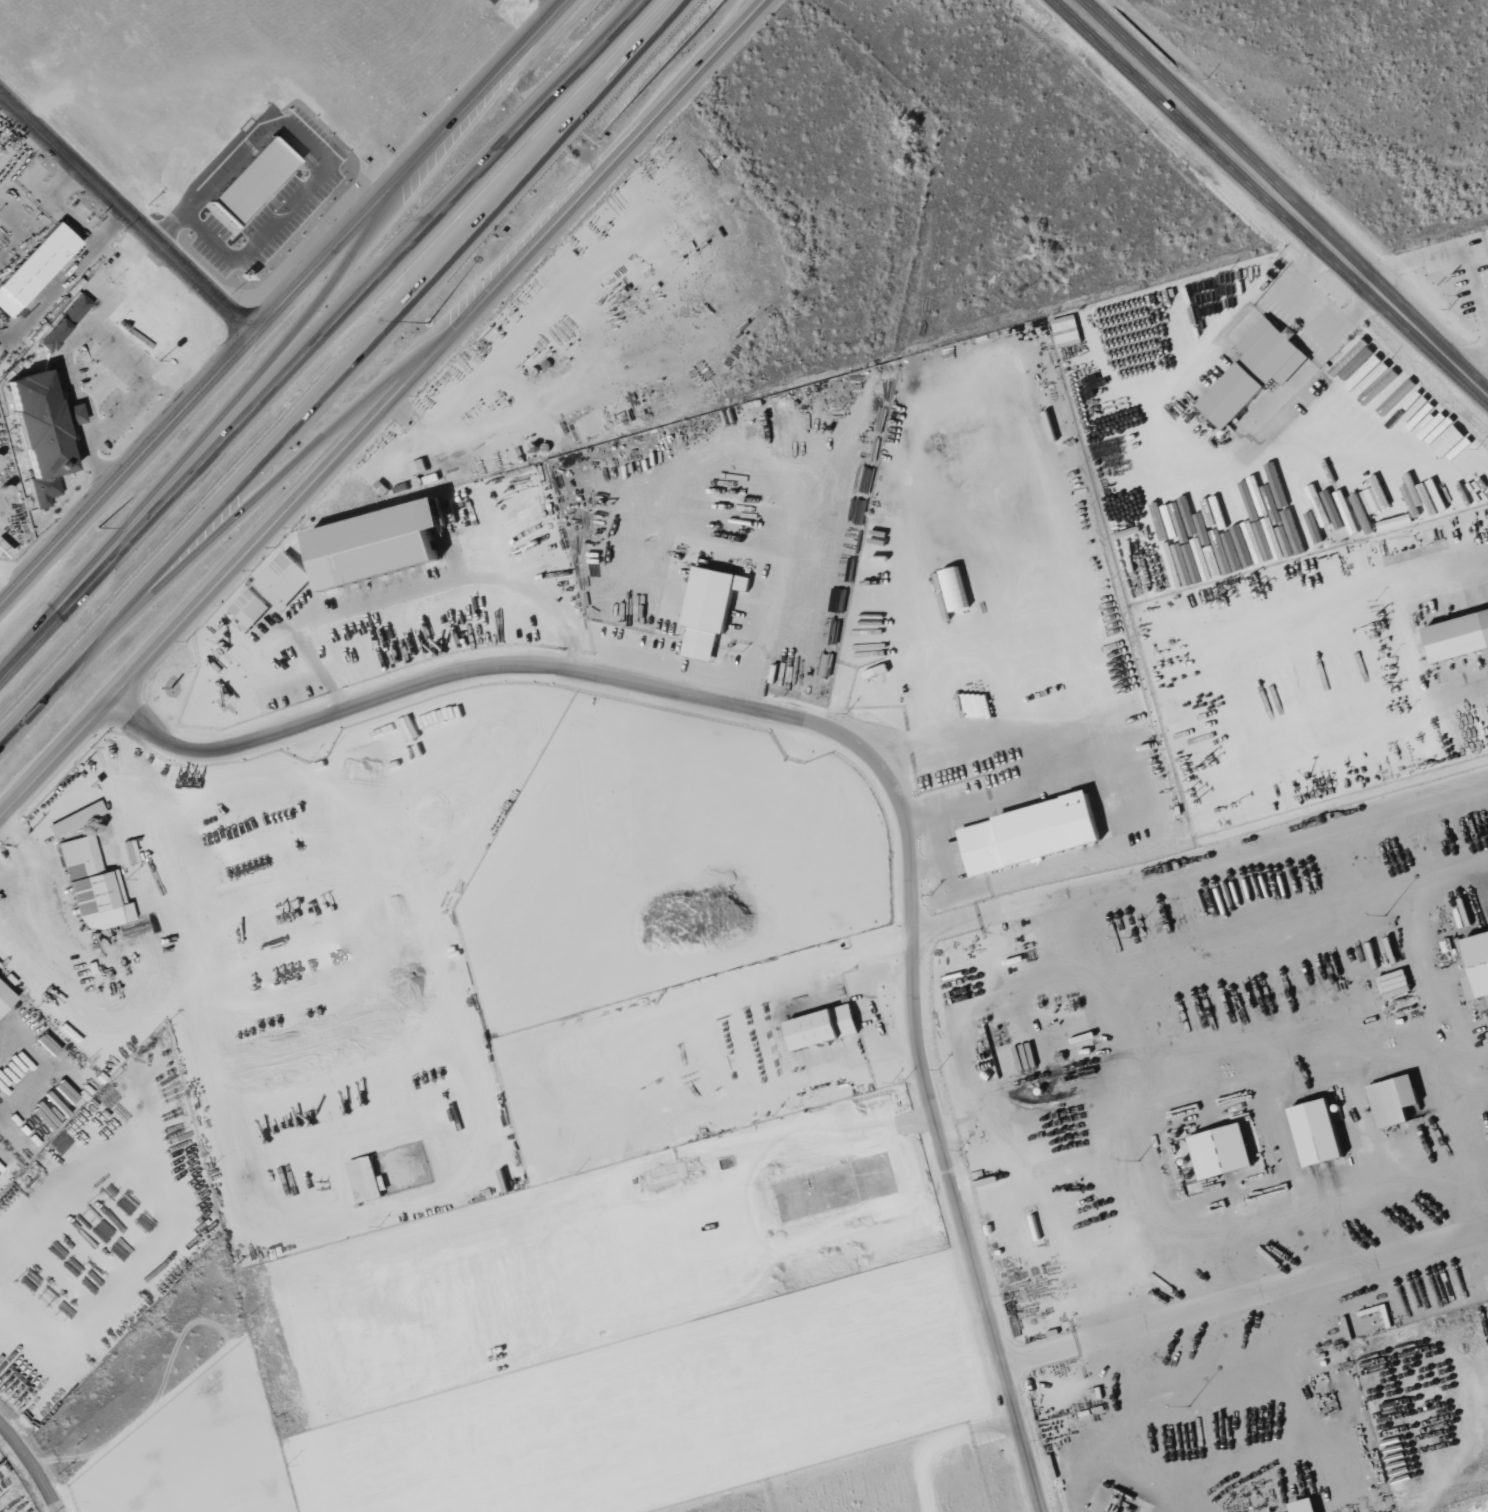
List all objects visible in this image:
road: (556, 3)
building: (253, 181)
building: (311, 193)
road: (1280, 196)
road: (128, 206)
building: (34, 268)
road: (283, 302)
building: (64, 322)
building: (1066, 329)
road: (318, 335)
road: (344, 368)
building: (1255, 372)
road: (383, 409)
building: (43, 431)
road: (200, 437)
building: (1454, 445)
building: (419, 466)
road: (257, 492)
building: (1374, 498)
building: (379, 545)
road: (8, 582)
building: (273, 589)
building: (710, 609)
road: (1404, 627)
building: (1459, 635)
road: (863, 749)
building: (75, 818)
building: (1031, 833)
road: (1201, 857)
building: (92, 887)
building: (1477, 965)
building: (5, 998)
road: (126, 1019)
building: (823, 1027)
building: (47, 1044)
building: (1395, 1100)
building: (1318, 1133)
building: (1222, 1151)
building: (364, 1179)
road: (167, 1215)
road: (1245, 1295)
road: (34, 1464)
building: (1305, 1506)

